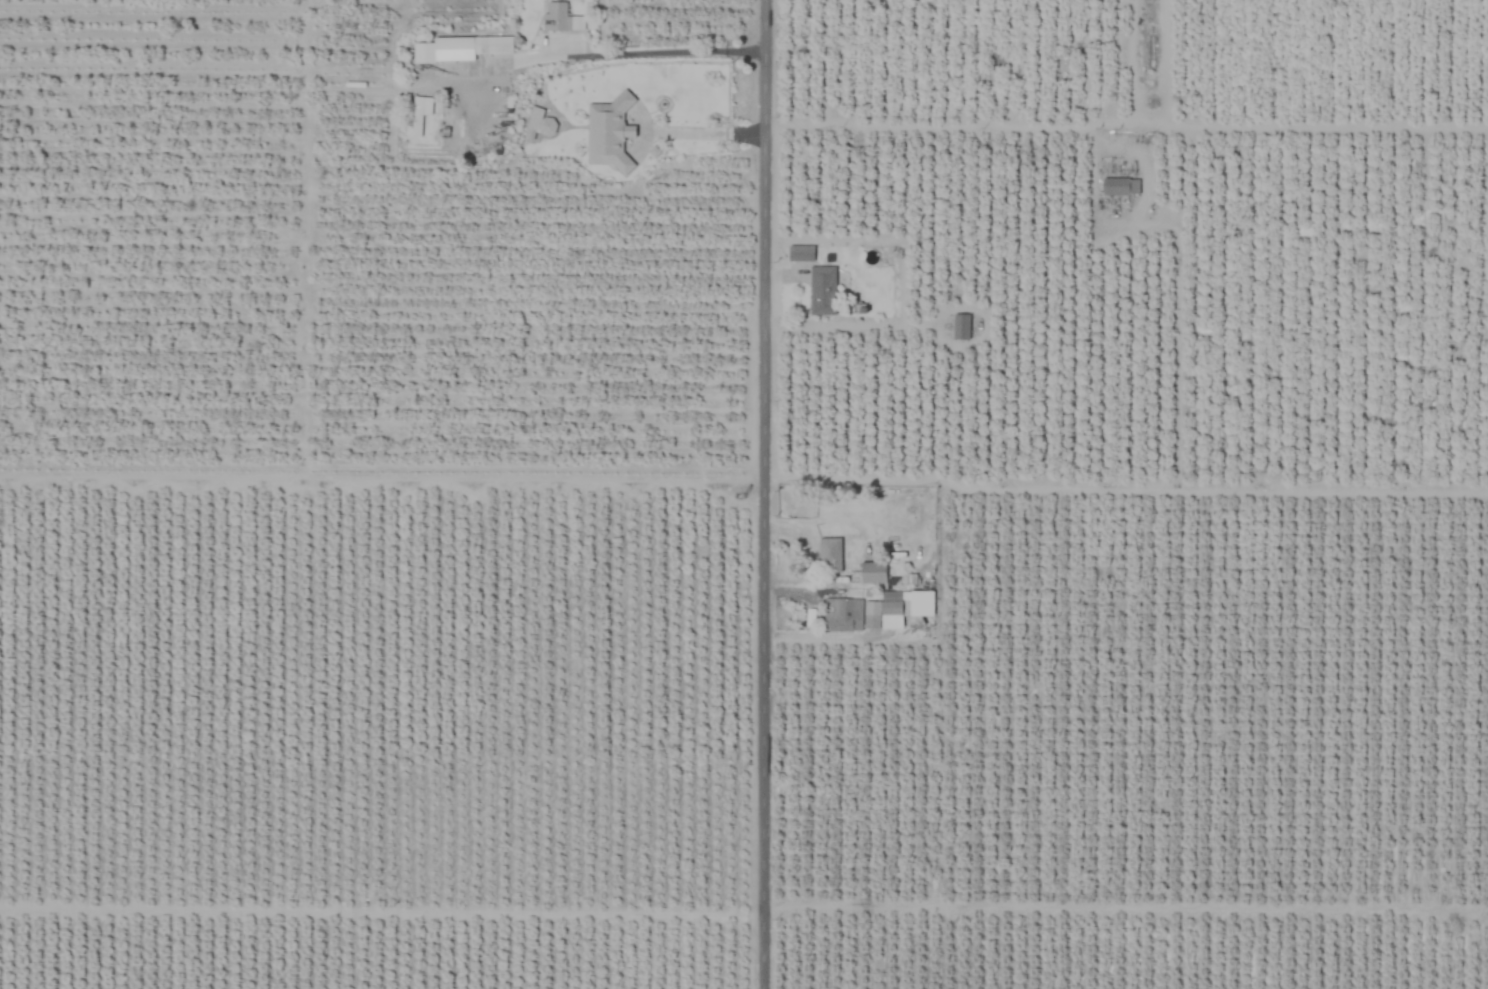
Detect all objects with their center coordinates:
building: (557, 16)
building: (470, 47)
road: (620, 54)
building: (421, 113)
road: (952, 126)
building: (608, 133)
building: (1120, 187)
building: (800, 253)
building: (822, 290)
building: (960, 326)
road: (761, 494)
building: (830, 555)
building: (873, 573)
building: (901, 604)
building: (842, 615)
road: (834, 638)

